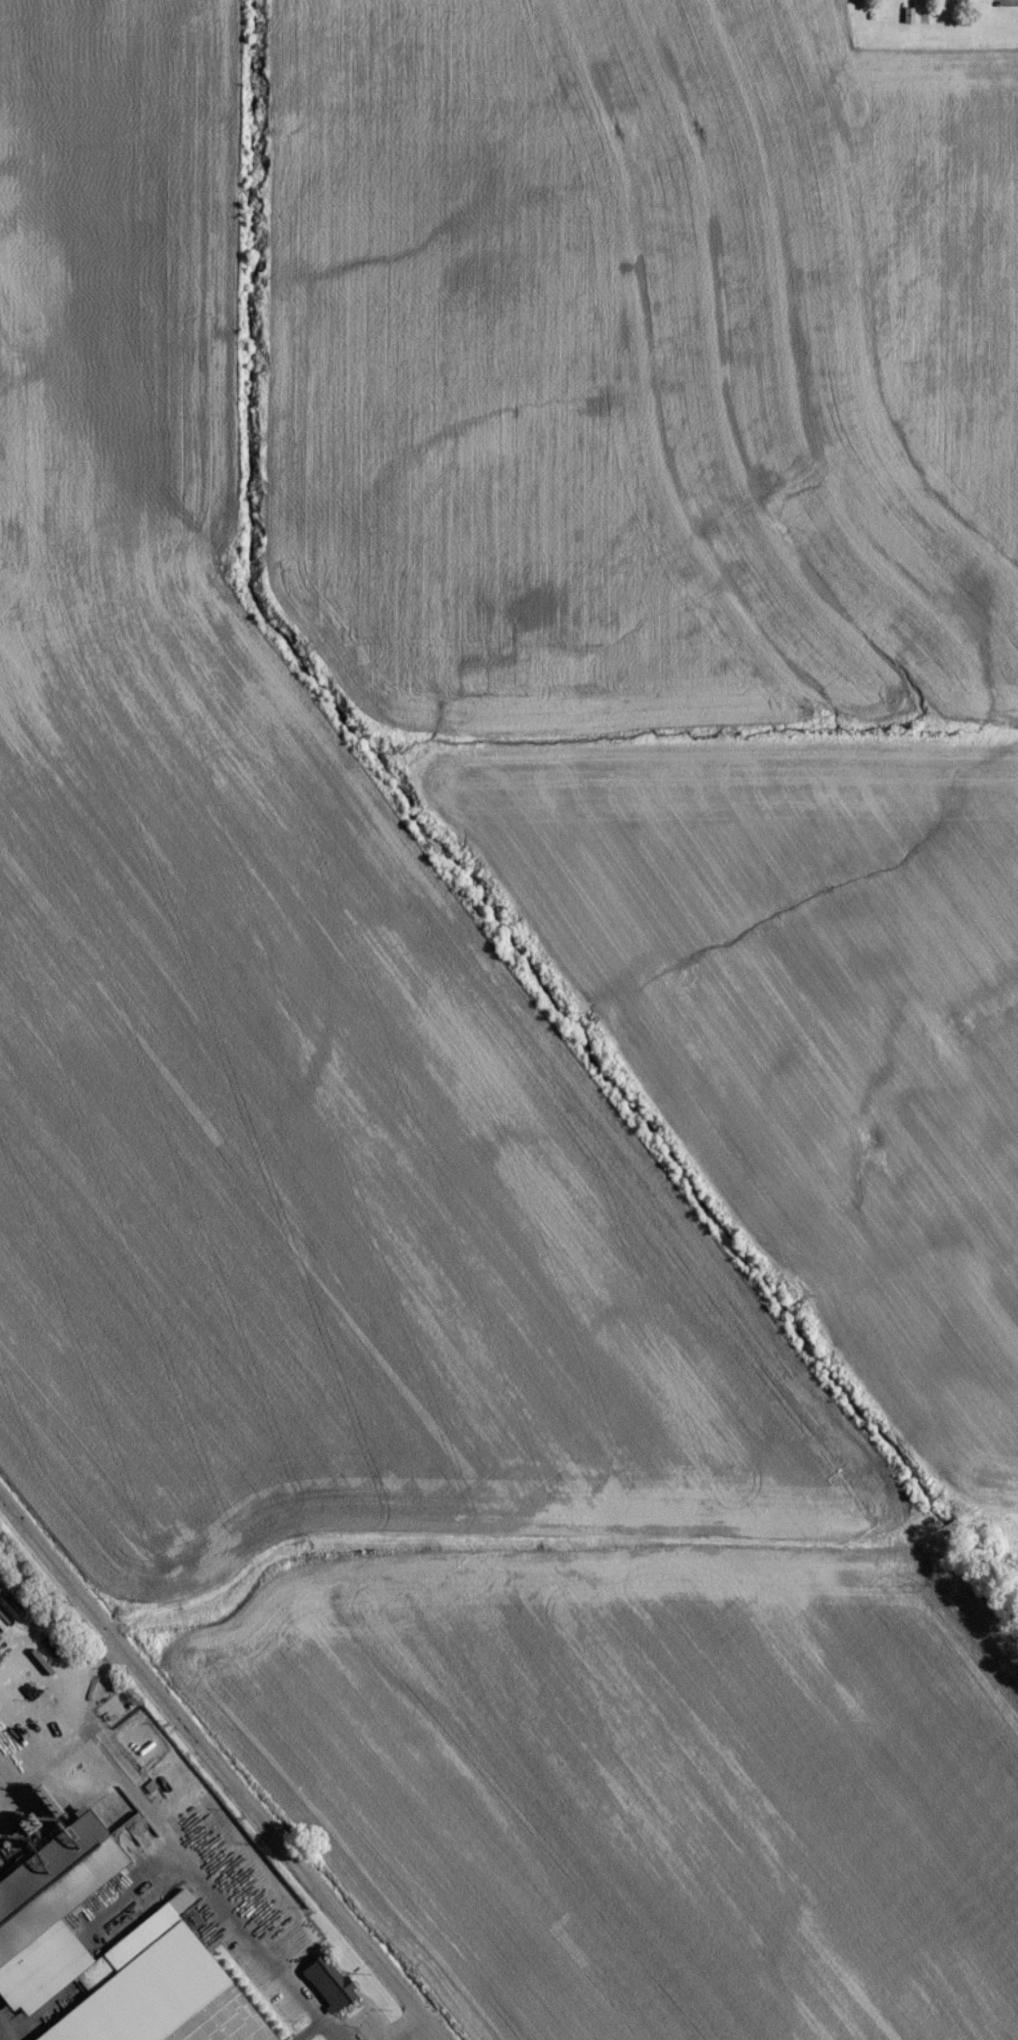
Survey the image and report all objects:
road: (47, 1767)
road: (217, 1772)
road: (181, 1851)
building: (283, 2009)
road: (4, 2033)
road: (428, 2038)

